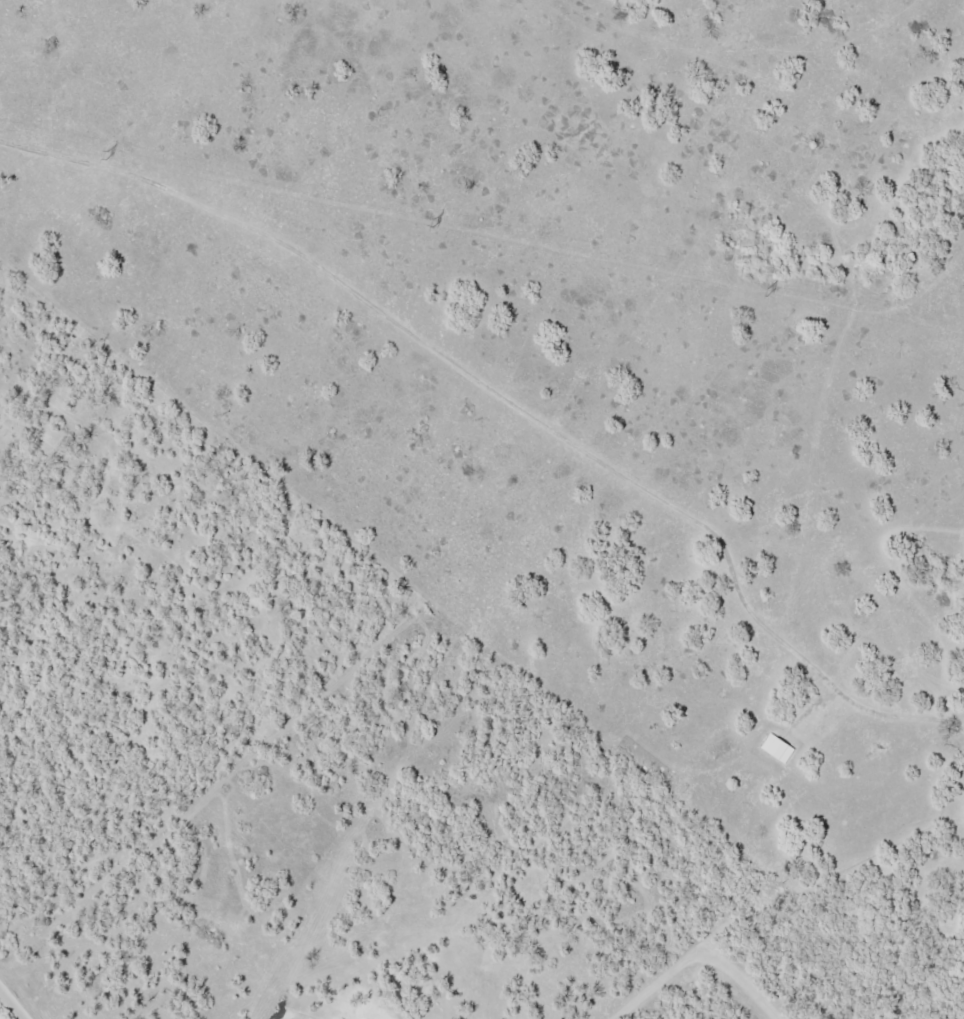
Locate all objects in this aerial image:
power tower: (107, 154)
power tower: (434, 222)
power tower: (767, 291)
road: (13, 1002)
road: (280, 1015)

